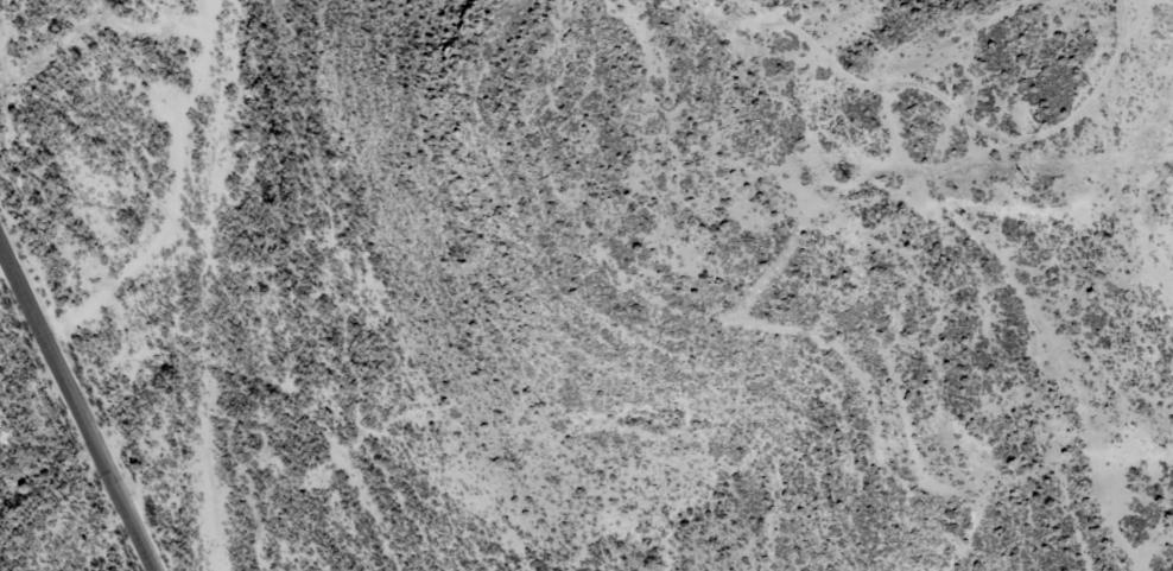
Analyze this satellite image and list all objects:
road: (77, 407)

